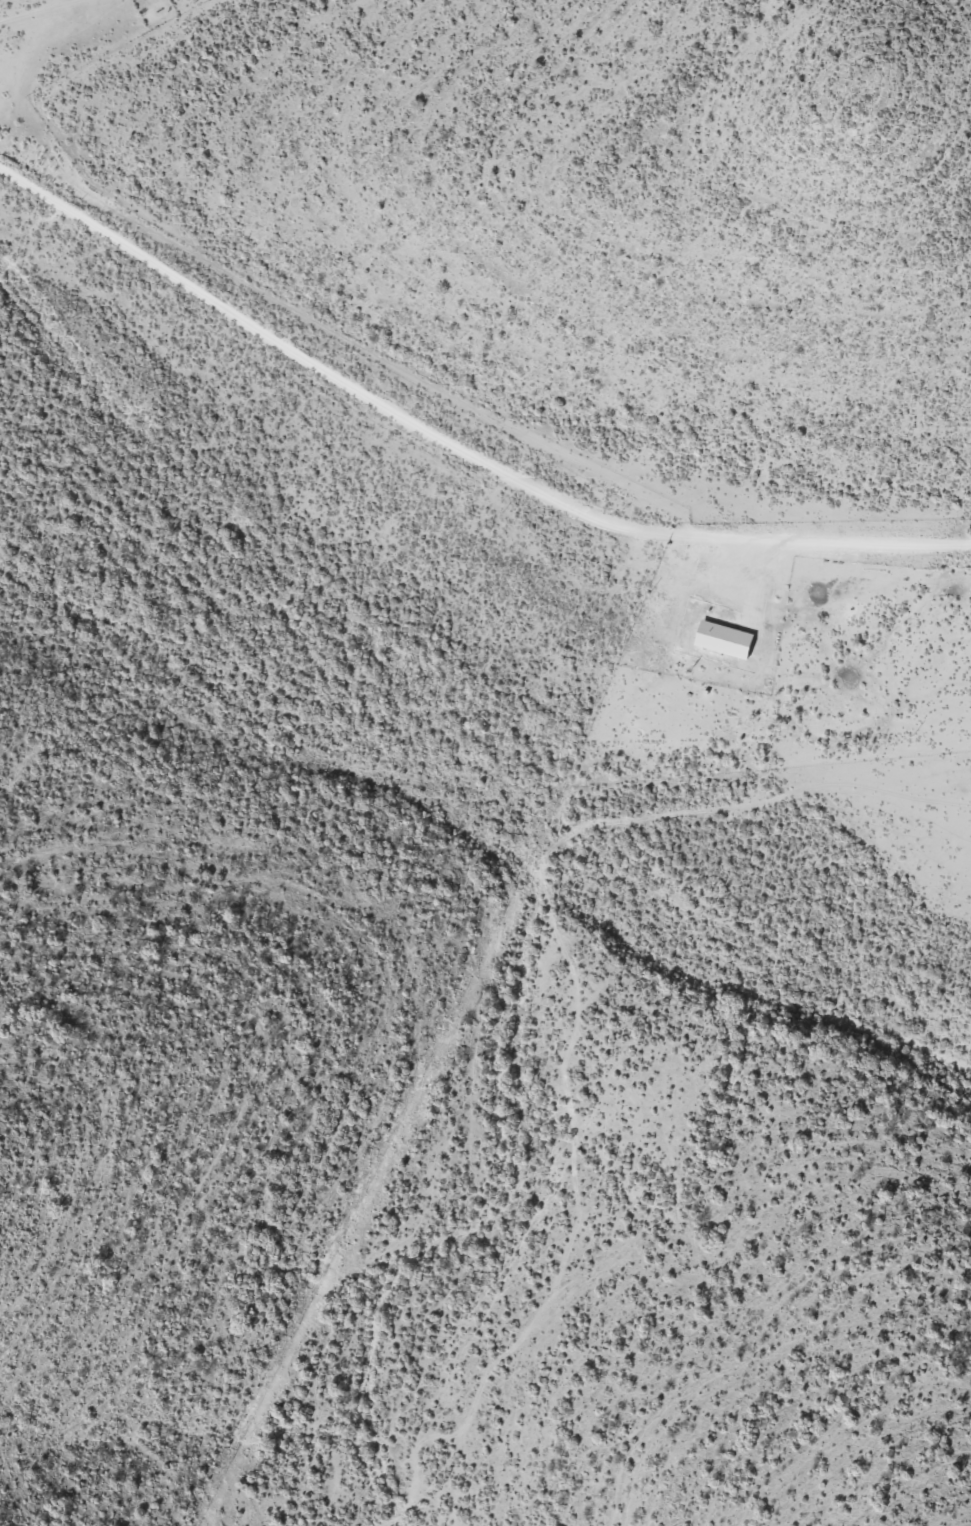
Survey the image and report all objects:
road: (39, 13)
road: (457, 442)

